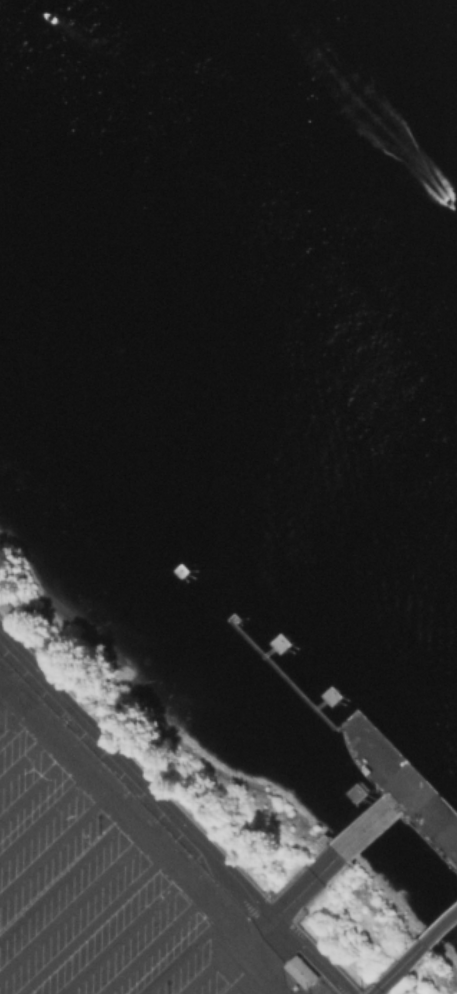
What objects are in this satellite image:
river: (271, 197)
pier: (182, 570)
road: (6, 694)
road: (15, 723)
road: (25, 753)
road: (34, 782)
pier: (376, 789)
road: (44, 812)
road: (172, 815)
road: (144, 830)
road: (54, 844)
road: (320, 870)
road: (64, 873)
road: (73, 902)
road: (91, 923)
road: (255, 925)
road: (119, 933)
road: (151, 944)
pier: (421, 944)
road: (179, 953)
road: (210, 964)
building: (300, 970)
road: (394, 970)
road: (239, 977)
road: (266, 989)

